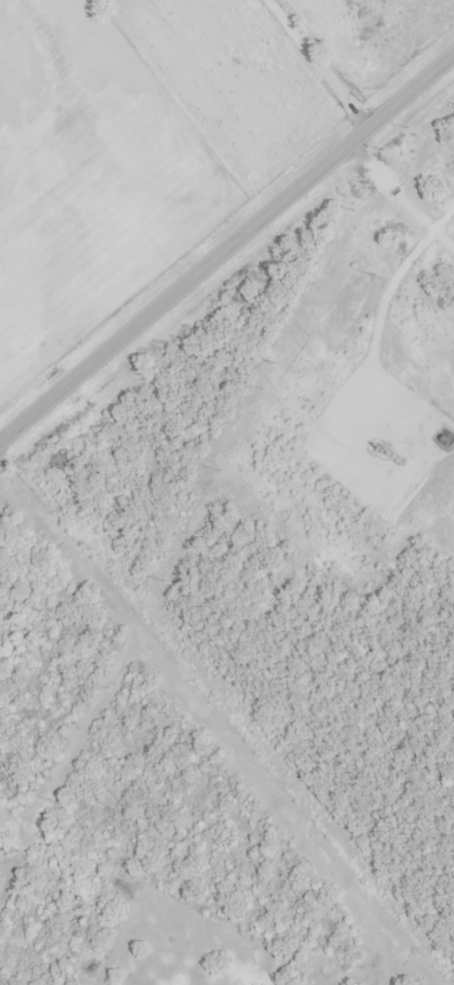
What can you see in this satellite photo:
road: (357, 109)
road: (226, 247)
road: (391, 277)

